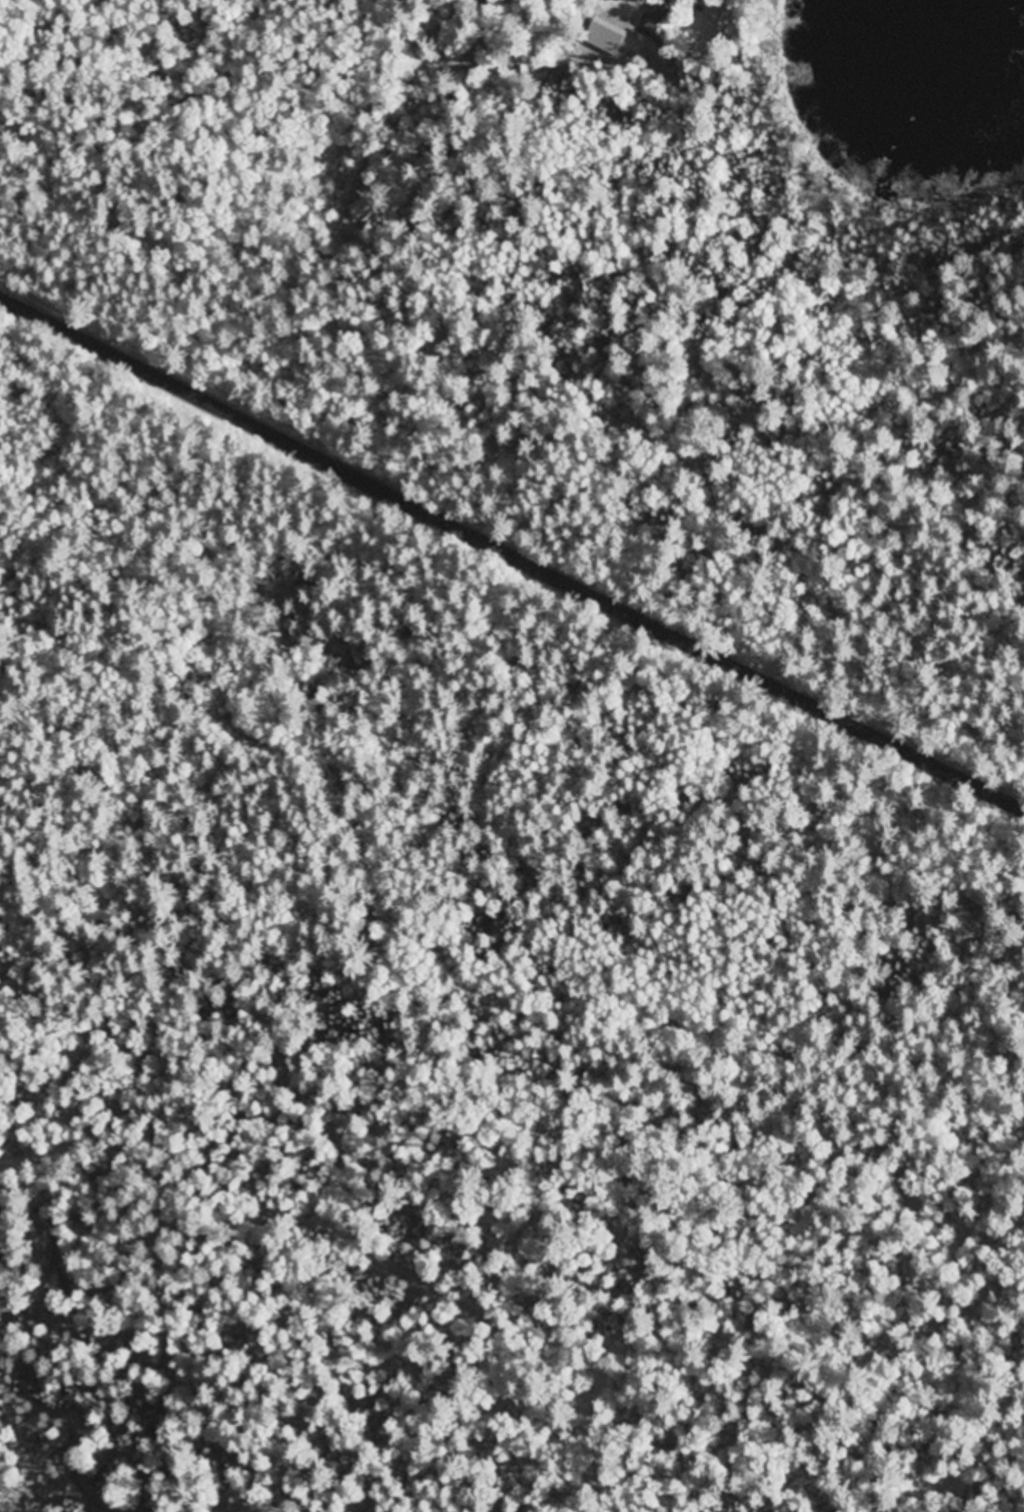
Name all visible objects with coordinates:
building: (650, 18)
road: (510, 548)

